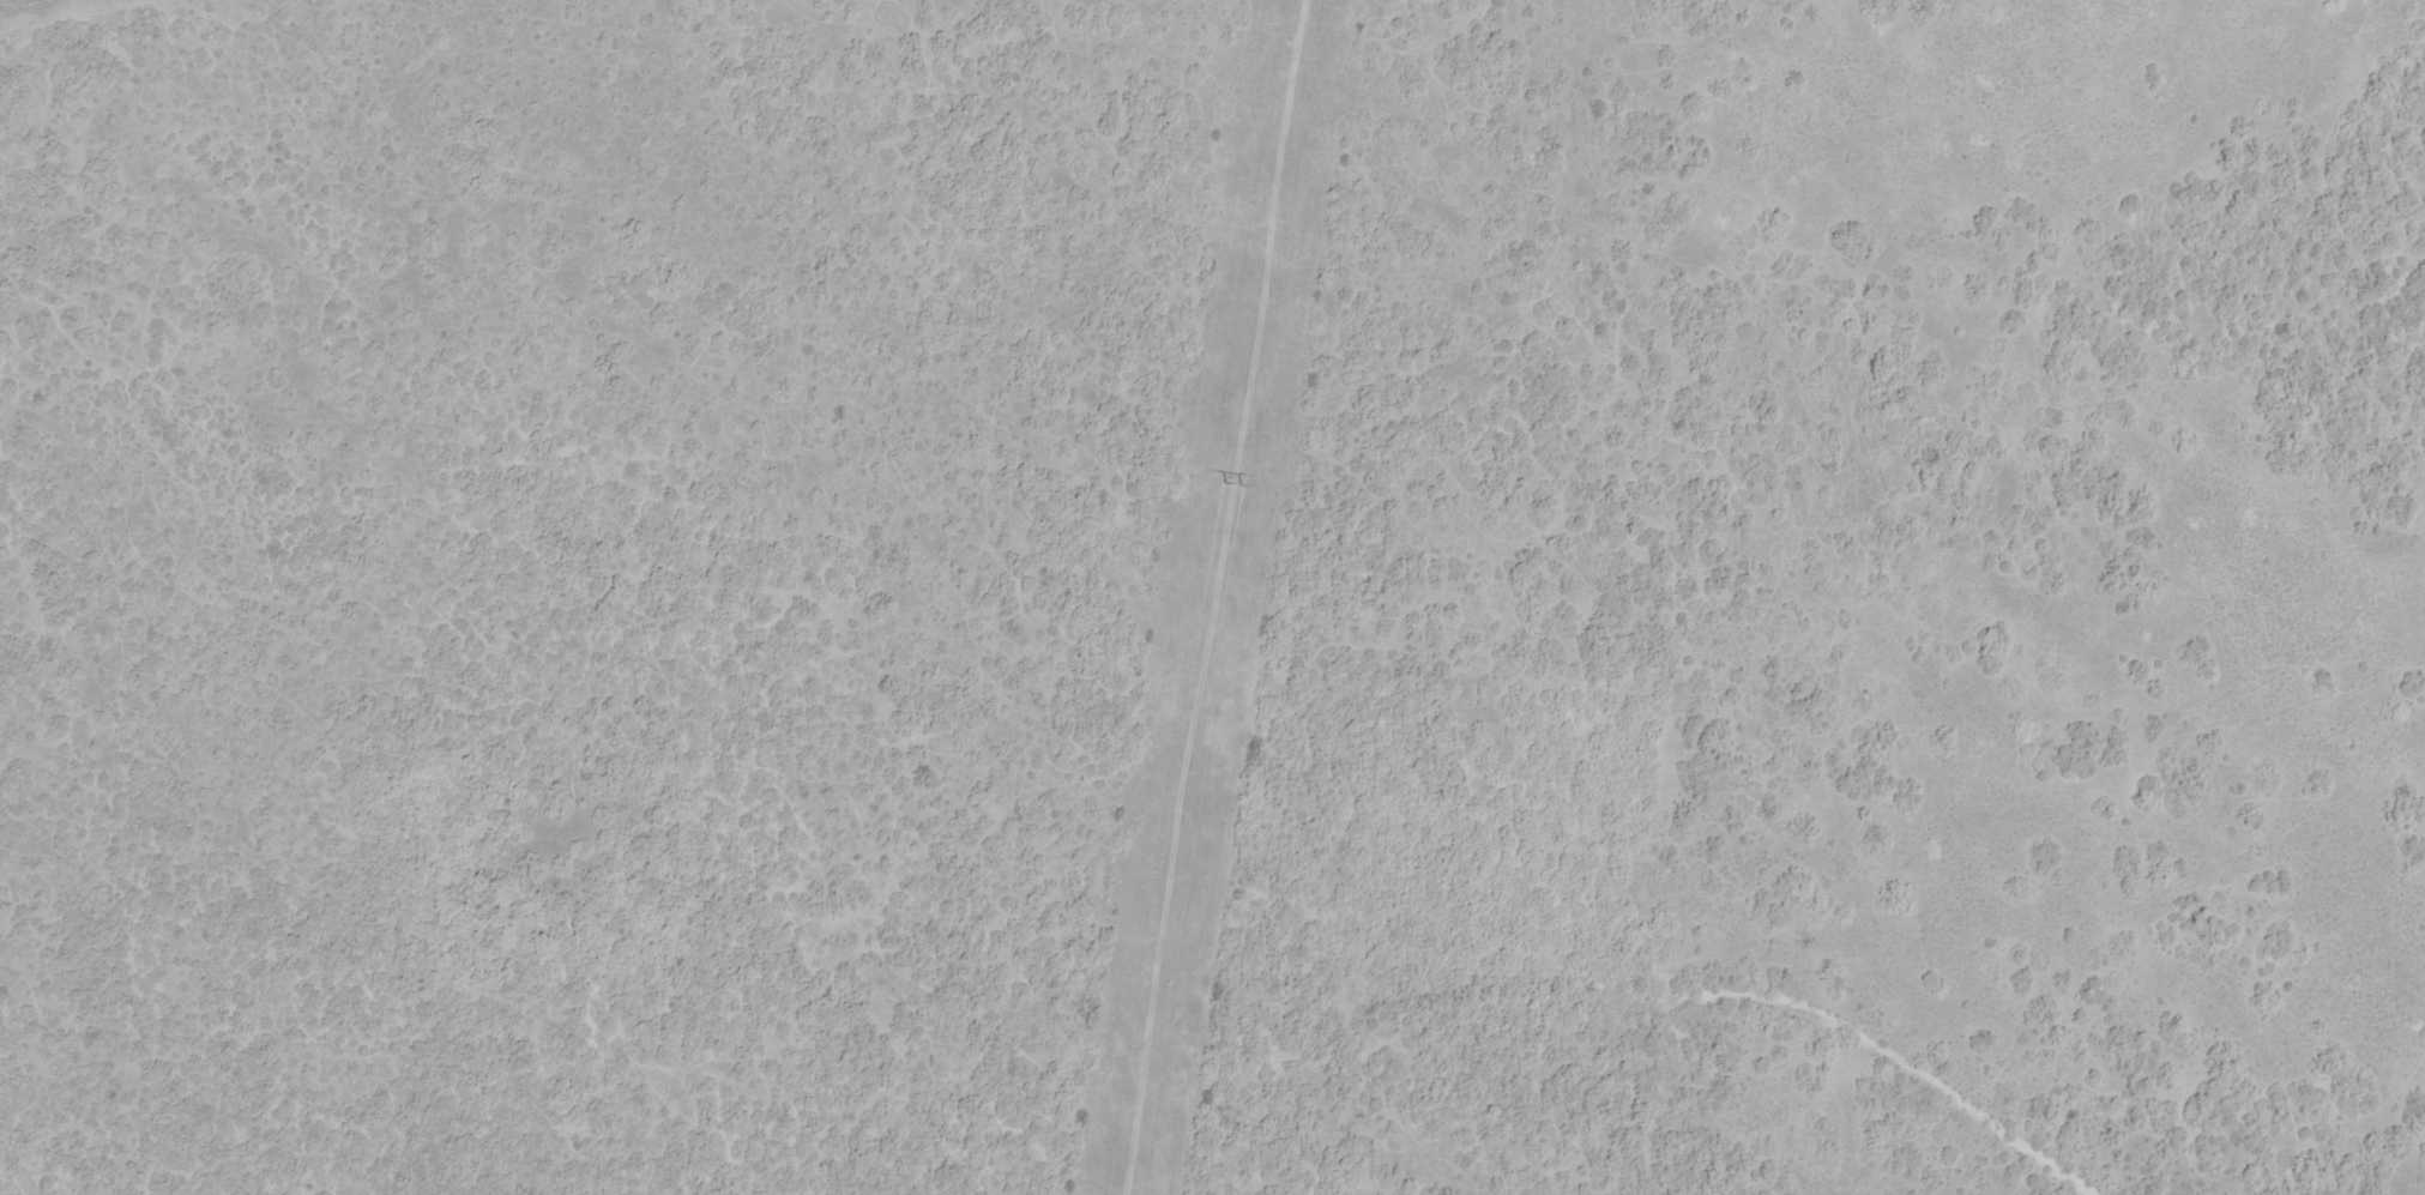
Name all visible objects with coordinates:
power tower: (1231, 484)

